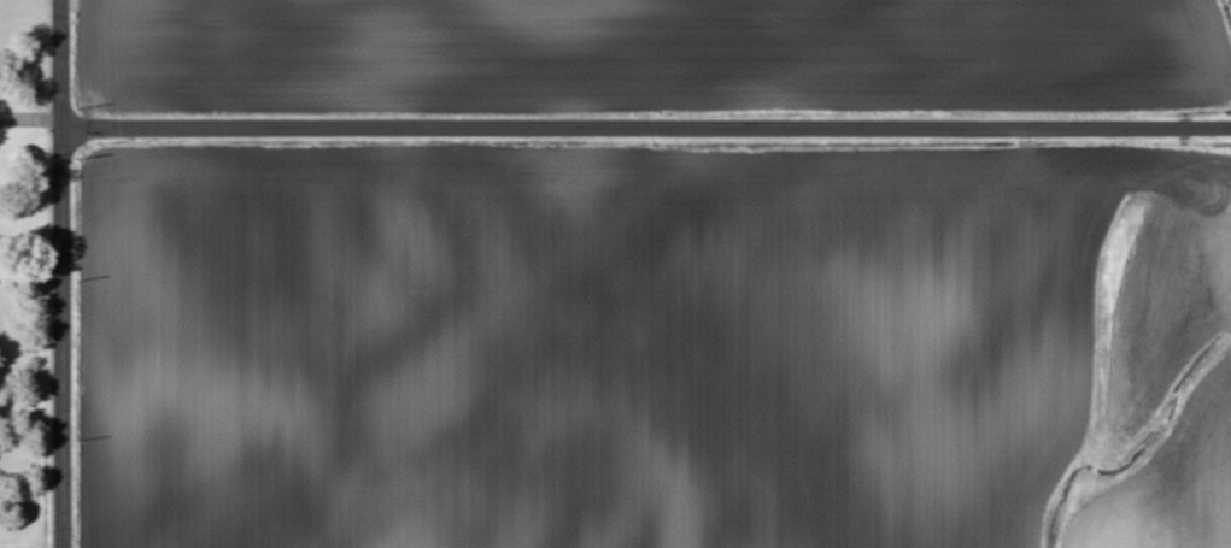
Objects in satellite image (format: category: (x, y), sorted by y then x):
road: (645, 120)
road: (60, 273)

